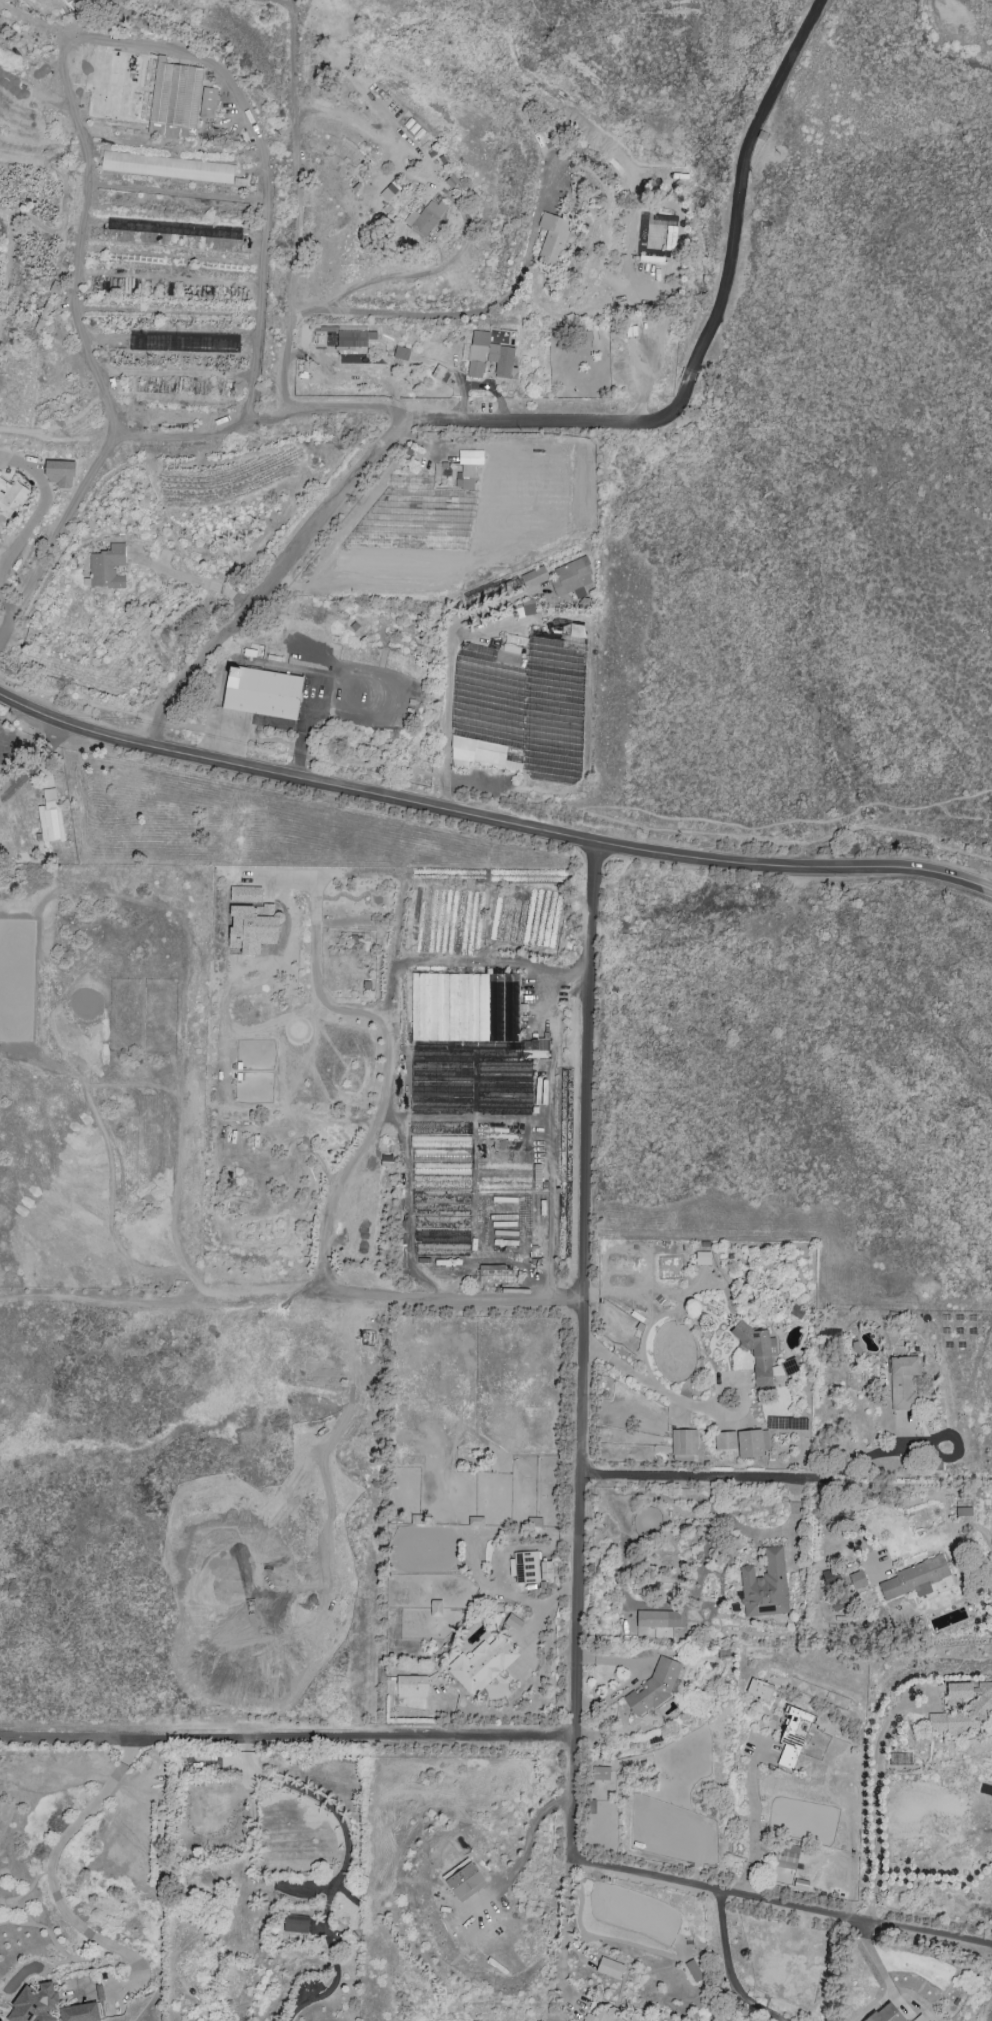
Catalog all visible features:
building: (172, 97)
building: (208, 103)
building: (167, 167)
building: (424, 217)
building: (552, 237)
road: (269, 262)
road: (707, 333)
building: (354, 336)
building: (401, 353)
building: (488, 357)
building: (468, 465)
building: (0, 473)
building: (60, 473)
building: (11, 496)
road: (25, 532)
building: (106, 568)
road: (273, 571)
road: (189, 578)
building: (564, 579)
building: (489, 591)
road: (17, 596)
building: (524, 610)
road: (449, 675)
building: (262, 692)
road: (75, 700)
road: (204, 727)
road: (305, 729)
road: (35, 760)
road: (963, 795)
road: (492, 811)
road: (961, 816)
road: (610, 817)
building: (50, 818)
road: (759, 826)
building: (245, 894)
road: (320, 896)
building: (252, 927)
building: (464, 1007)
building: (535, 1048)
building: (471, 1079)
road: (393, 1111)
road: (335, 1186)
building: (702, 1258)
building: (496, 1274)
road: (384, 1294)
building: (796, 1312)
building: (763, 1356)
road: (651, 1379)
building: (902, 1381)
building: (725, 1440)
building: (684, 1442)
building: (752, 1444)
road: (865, 1457)
building: (684, 1458)
road: (705, 1471)
road: (851, 1518)
road: (580, 1560)
building: (525, 1567)
building: (546, 1570)
building: (857, 1579)
building: (913, 1579)
building: (765, 1586)
building: (436, 1608)
building: (659, 1619)
building: (513, 1622)
building: (481, 1664)
building: (411, 1686)
building: (759, 1689)
building: (977, 1708)
building: (793, 1735)
road: (297, 1737)
road: (9, 1739)
building: (600, 1773)
road: (876, 1803)
road: (753, 1818)
road: (527, 1842)
building: (786, 1856)
road: (344, 1868)
road: (51, 1880)
building: (464, 1880)
road: (930, 1916)
building: (295, 1926)
road: (564, 1930)
building: (609, 1968)
building: (693, 1970)
road: (728, 1970)
building: (33, 2004)
building: (80, 2013)
building: (886, 2014)
building: (608, 2016)
building: (919, 2018)

